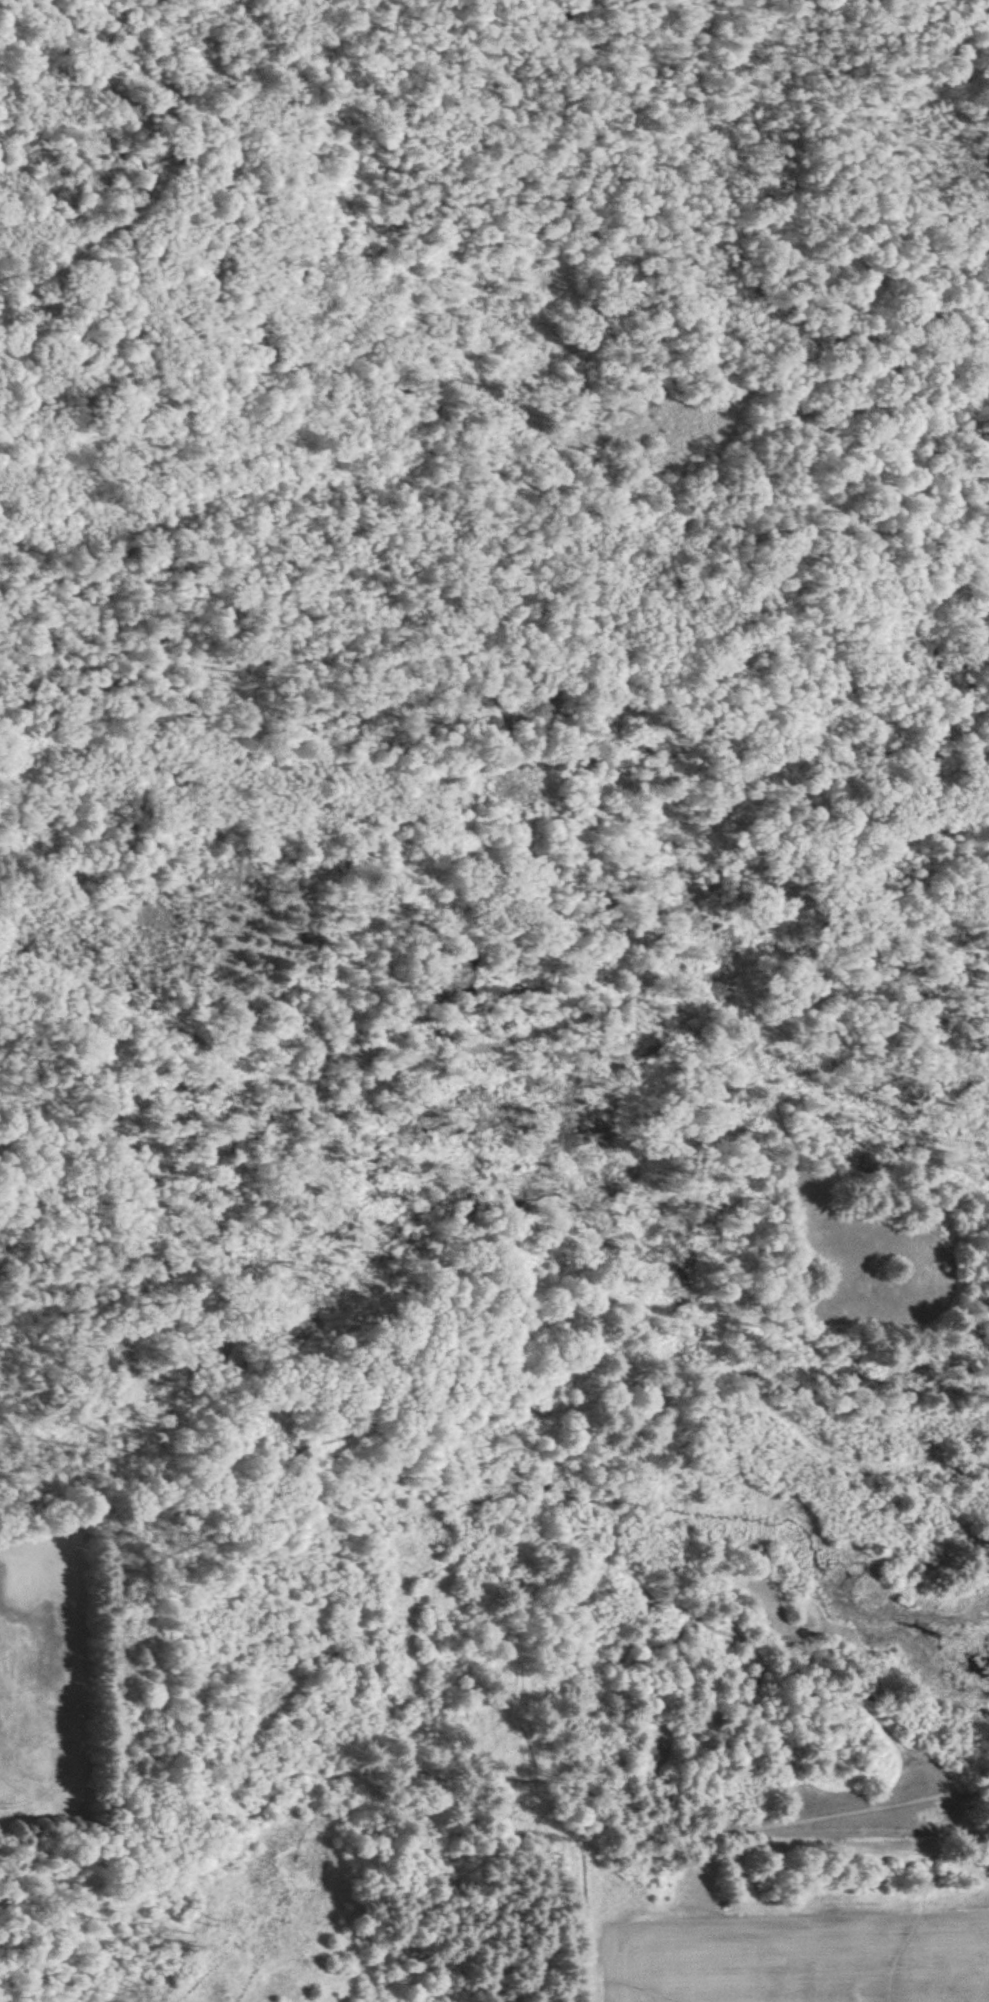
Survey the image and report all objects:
road: (146, 186)

